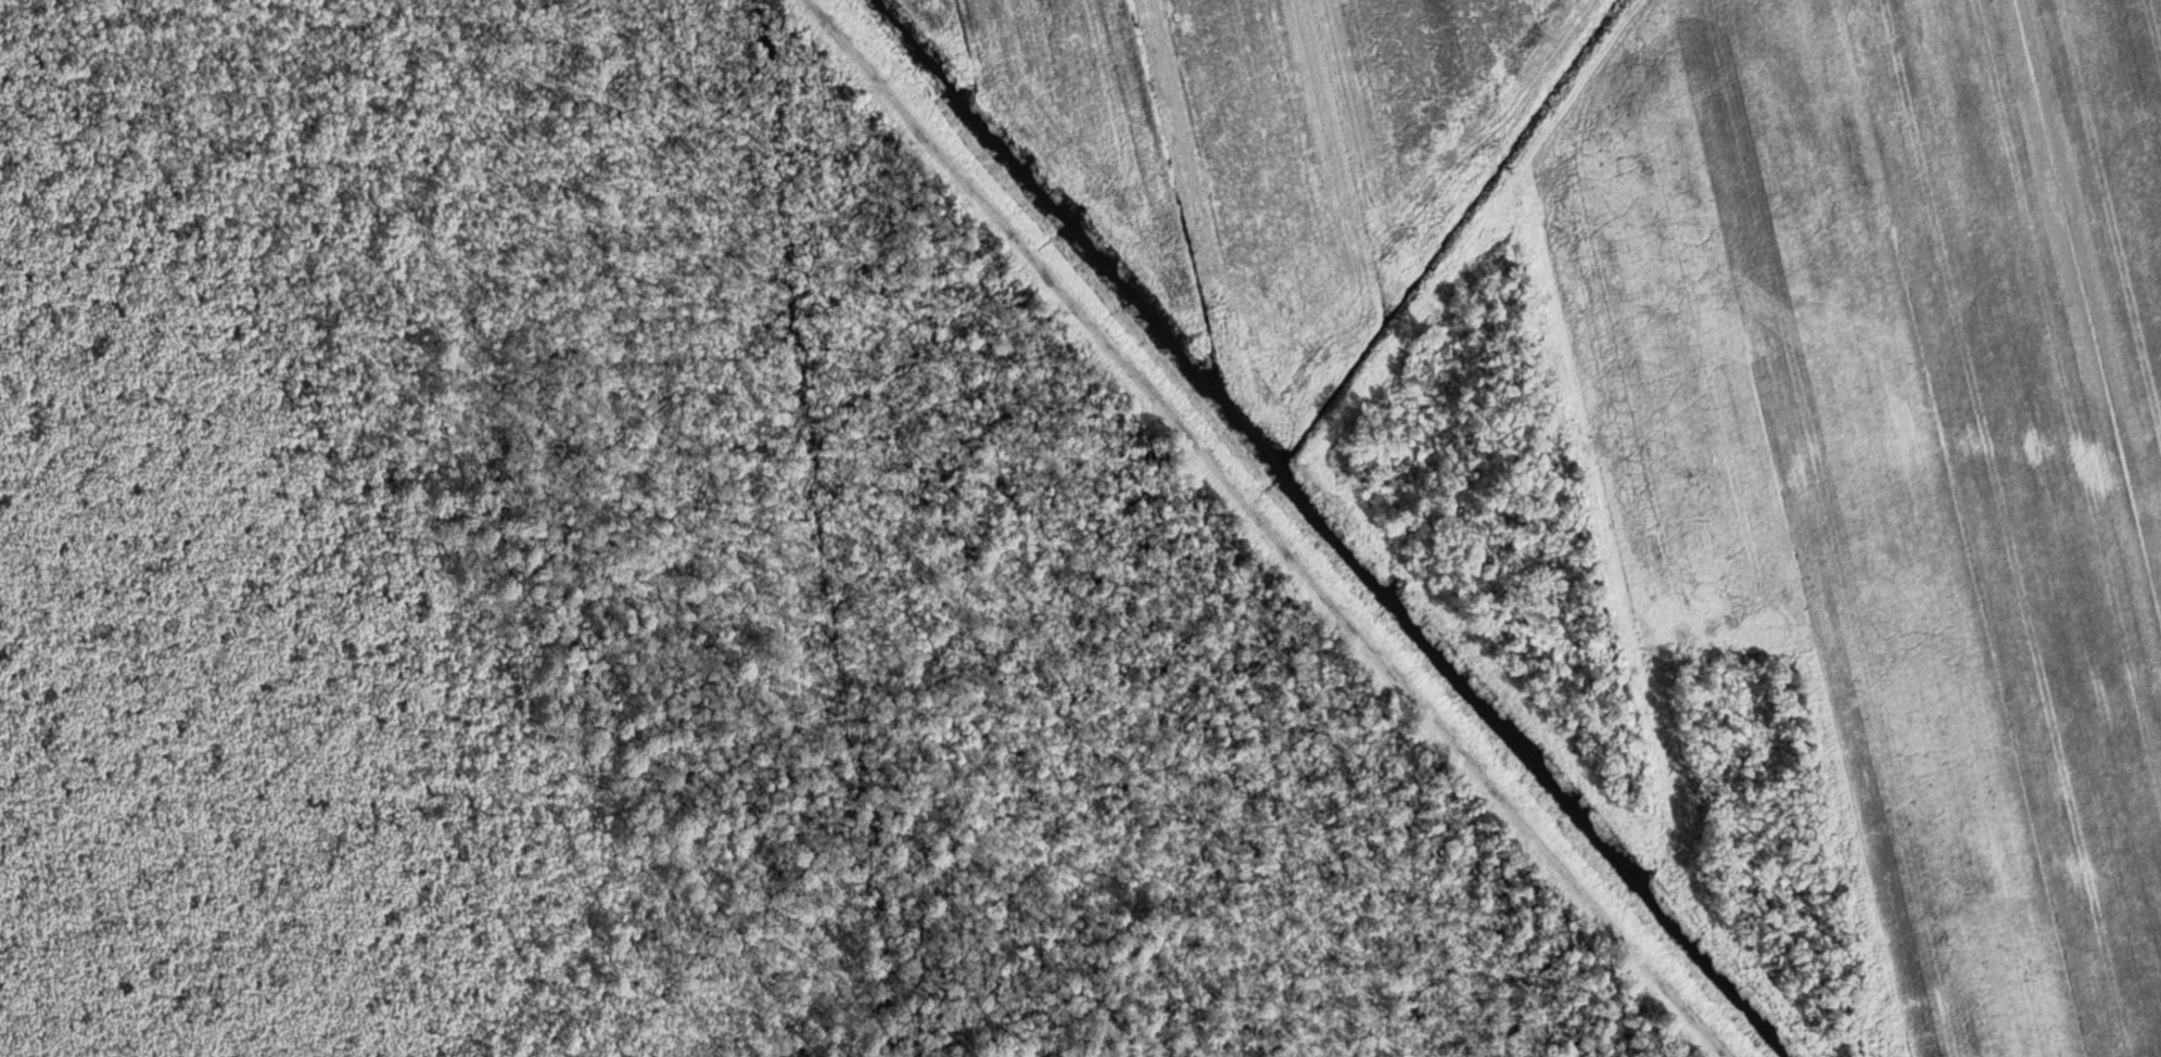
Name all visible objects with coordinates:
crop: (1907, 449)
road: (1260, 528)

